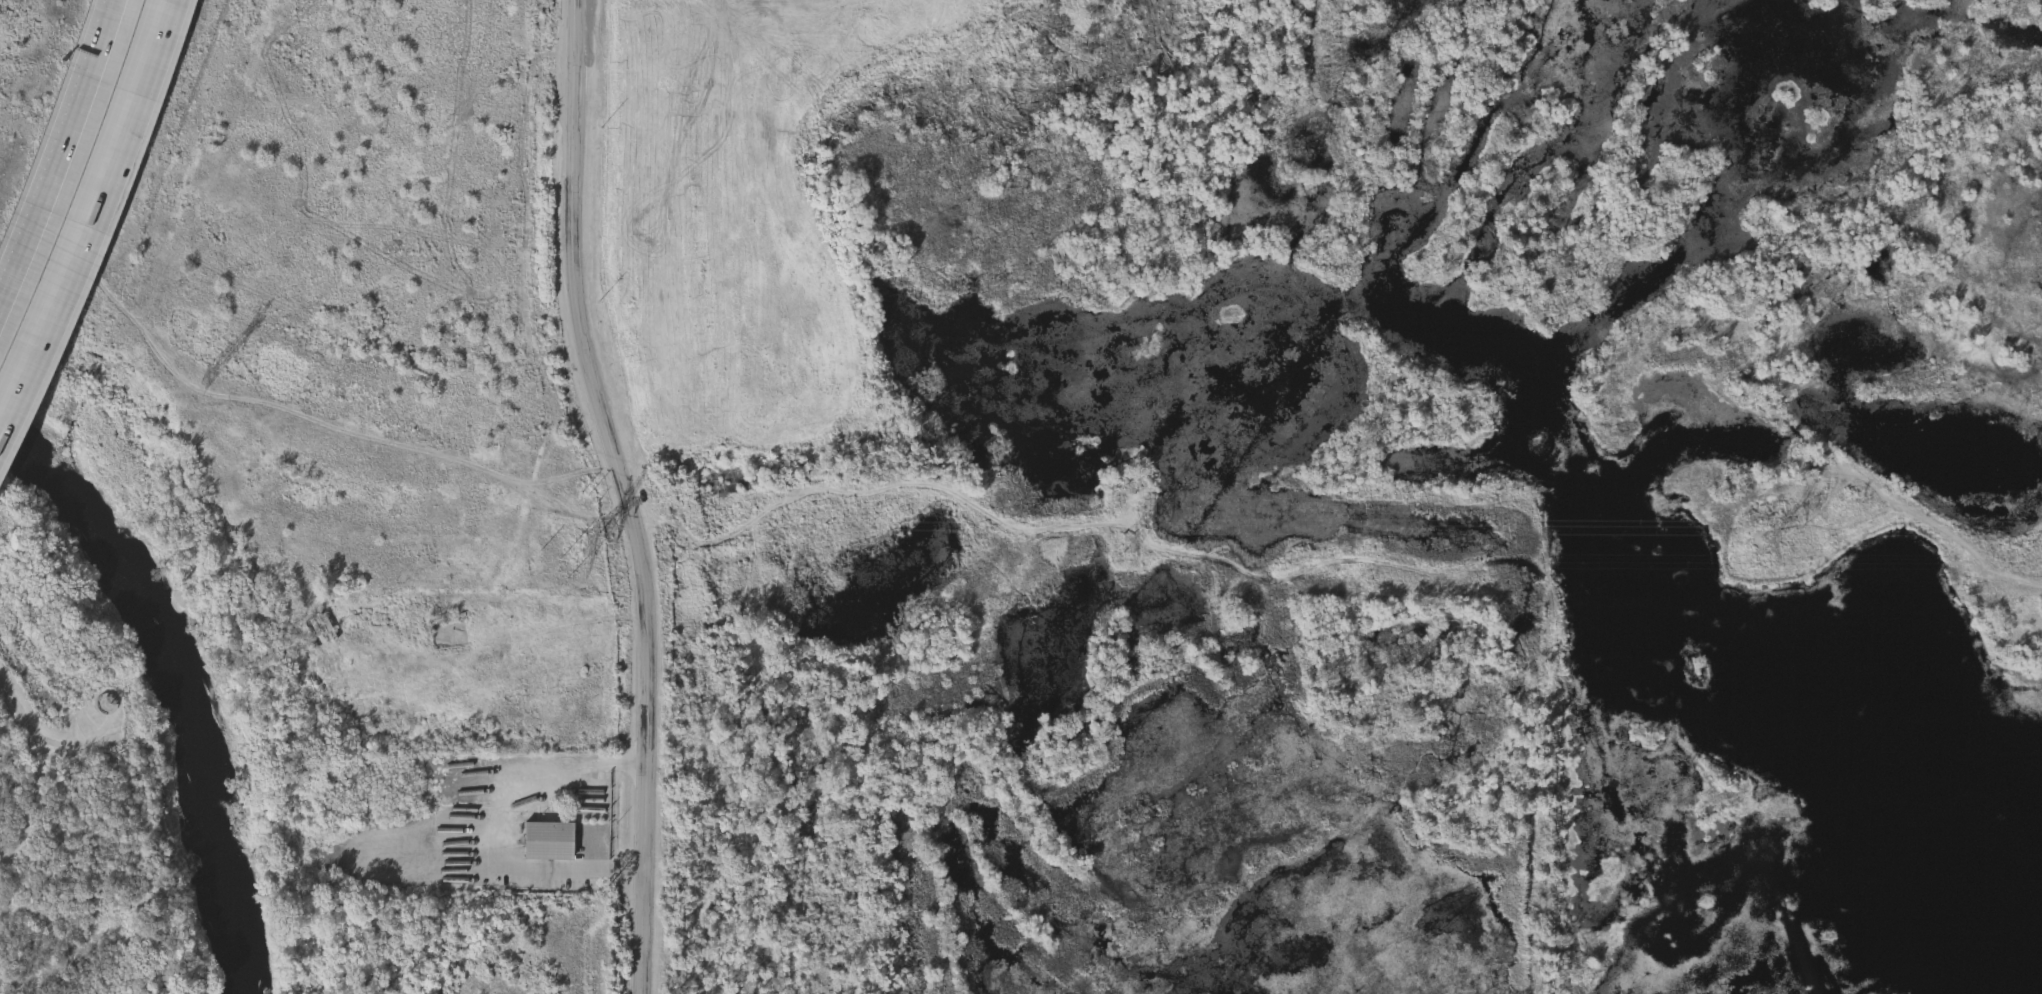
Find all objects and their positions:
road: (65, 168)
road: (94, 227)
power tower: (213, 377)
road: (626, 494)
power tower: (1764, 546)
power tower: (589, 547)
power tower: (1128, 548)
building: (448, 622)
river: (180, 683)
road: (17, 708)
building: (361, 727)
building: (474, 734)
road: (78, 745)
road: (46, 765)
road: (530, 770)
road: (33, 805)
building: (548, 842)
road: (570, 871)

